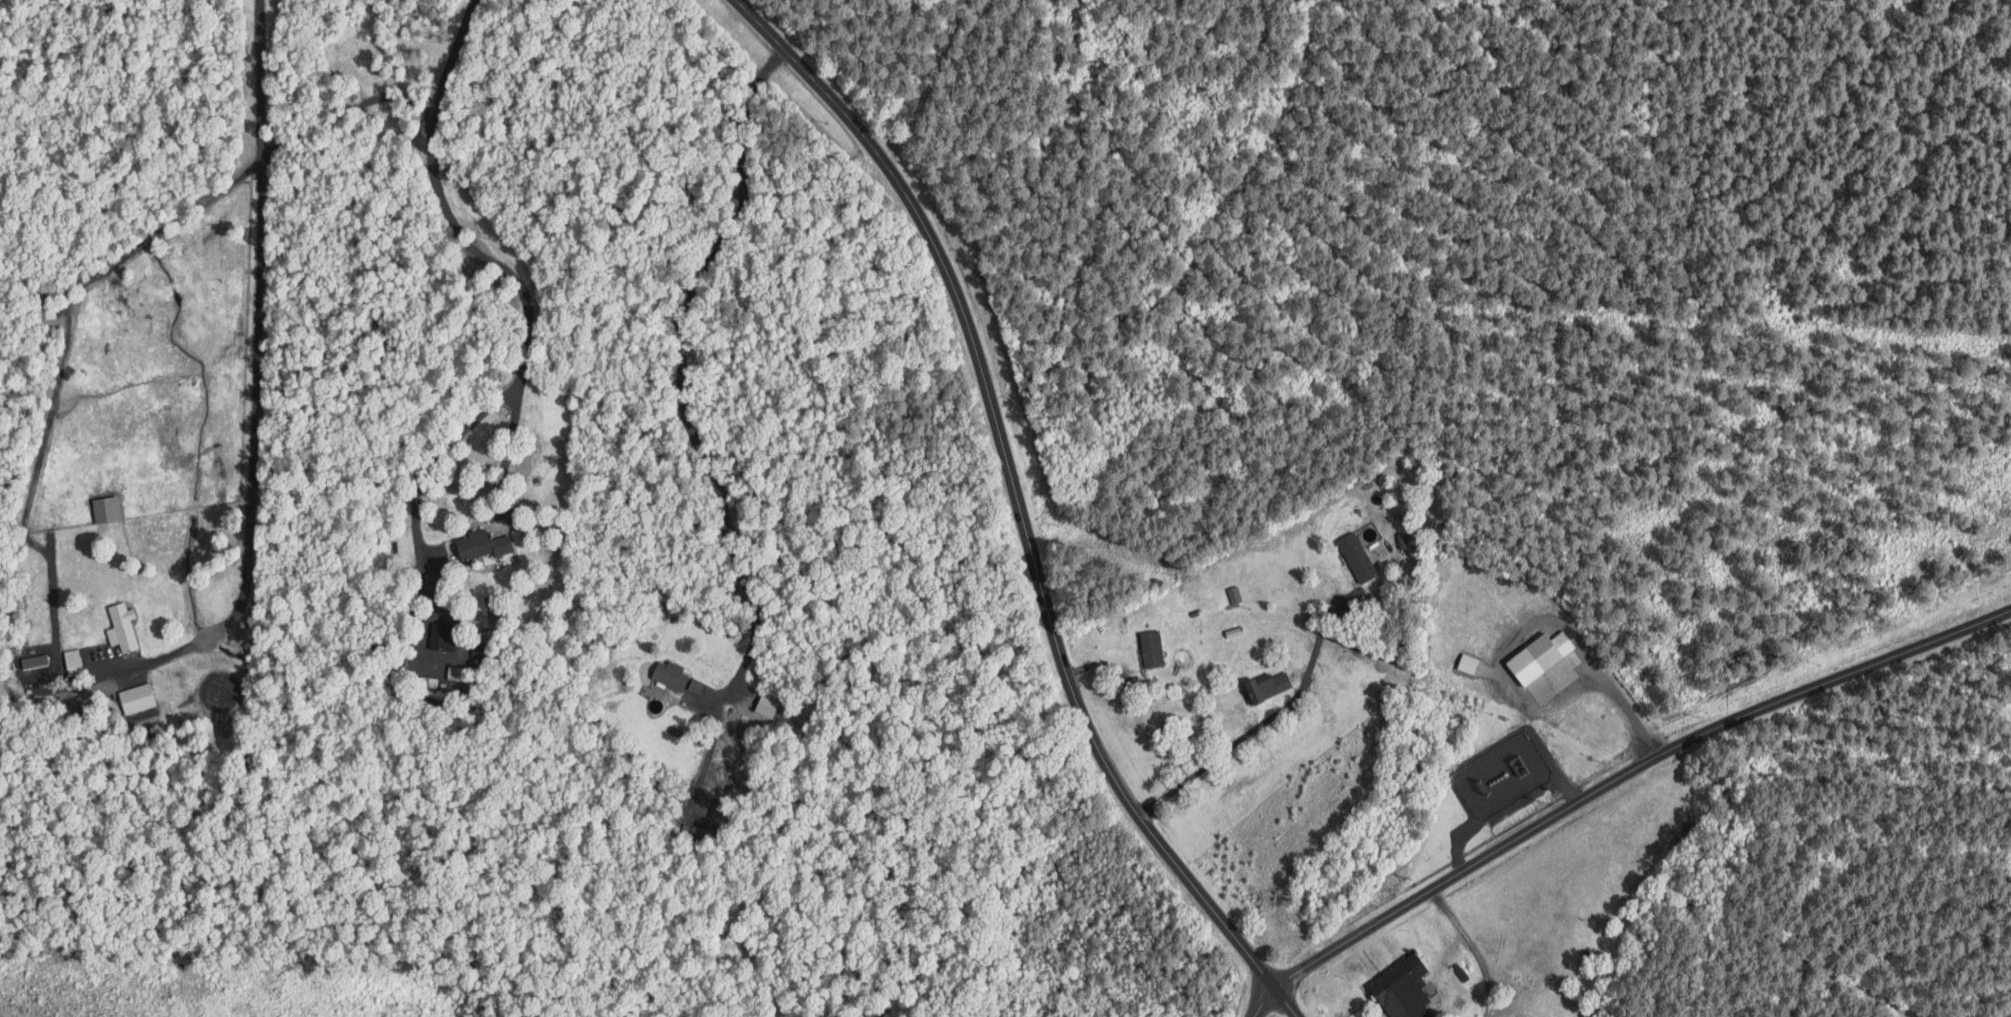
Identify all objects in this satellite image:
road: (904, 65)
road: (259, 81)
road: (482, 254)
road: (681, 357)
road: (439, 456)
building: (106, 508)
road: (1021, 508)
building: (1409, 539)
building: (482, 546)
building: (1358, 556)
building: (1235, 593)
road: (1535, 623)
building: (124, 626)
building: (444, 636)
building: (1153, 648)
building: (35, 660)
building: (75, 661)
building: (1469, 663)
building: (1547, 665)
building: (670, 677)
building: (696, 685)
road: (66, 687)
building: (138, 697)
road: (1266, 718)
road: (1613, 779)
road: (1470, 948)
building: (1406, 989)

